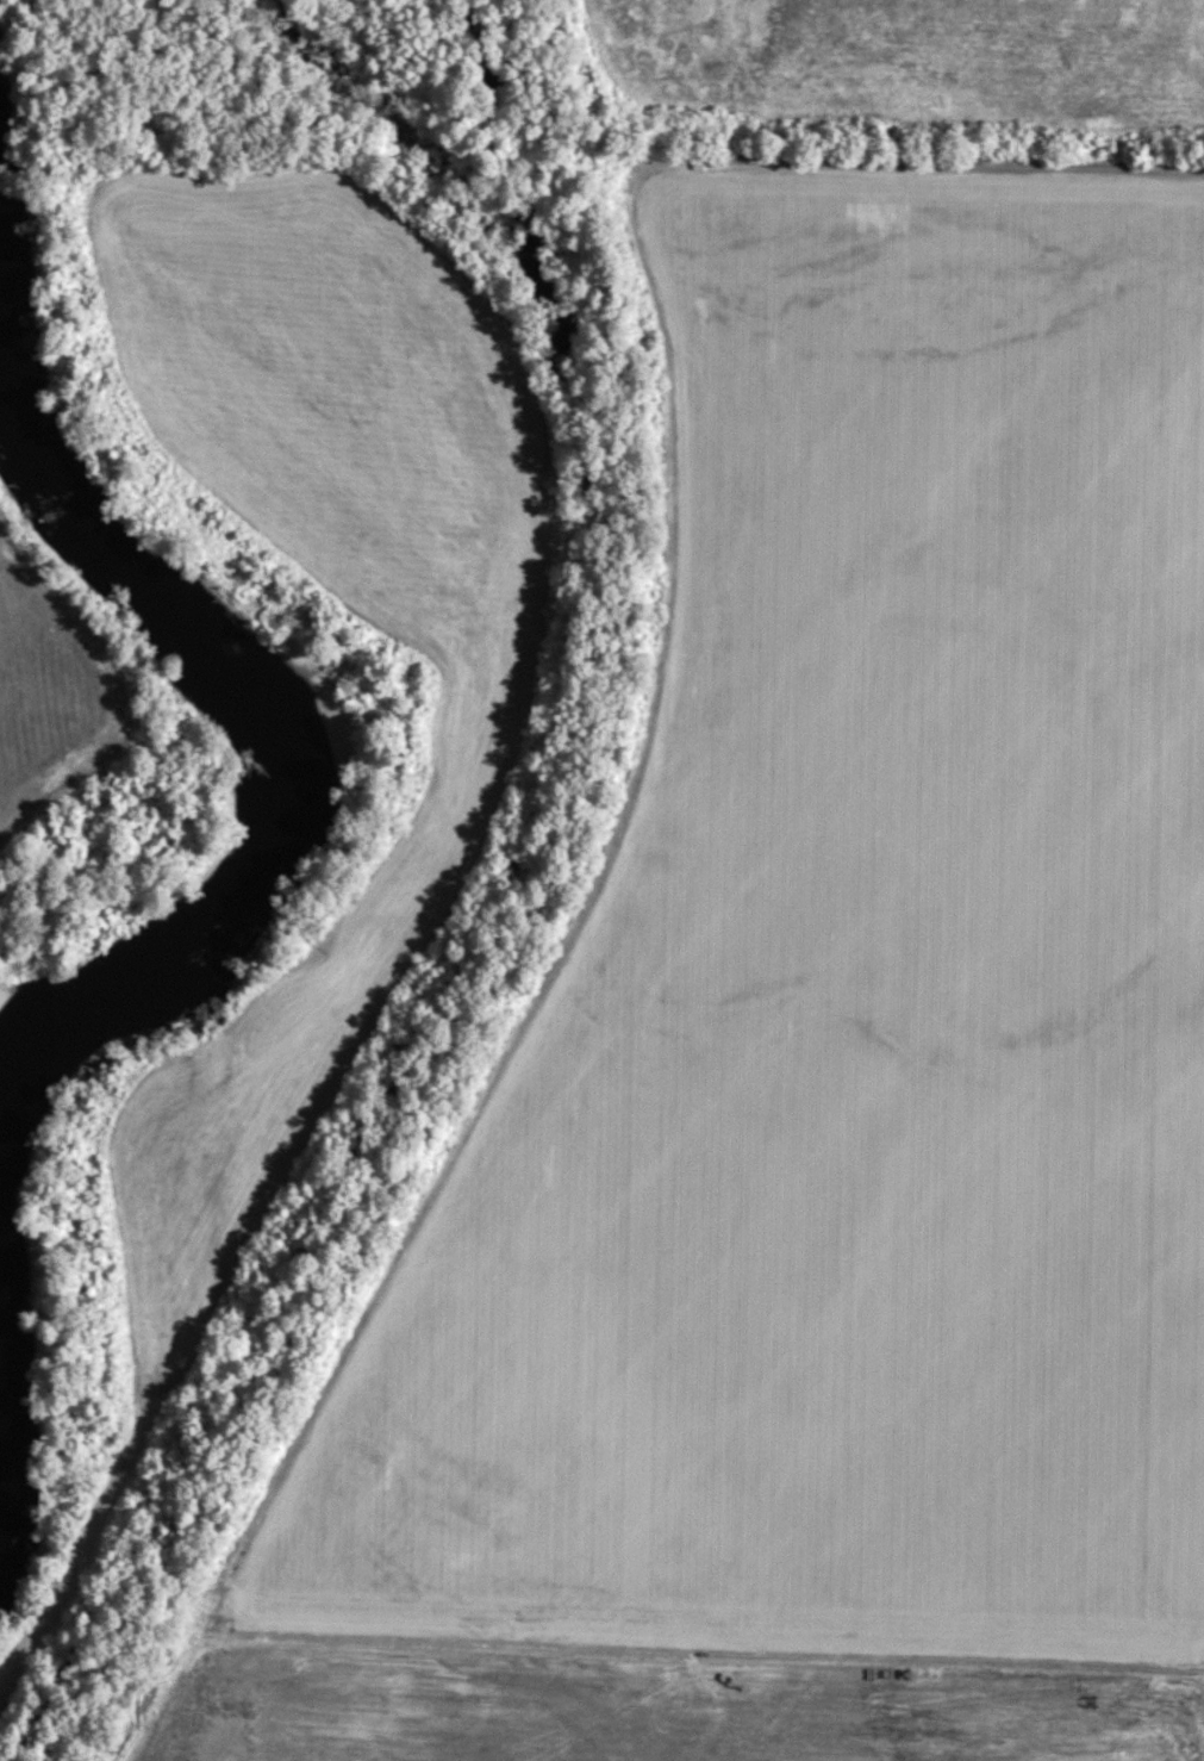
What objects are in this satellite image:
river: (270, 753)

